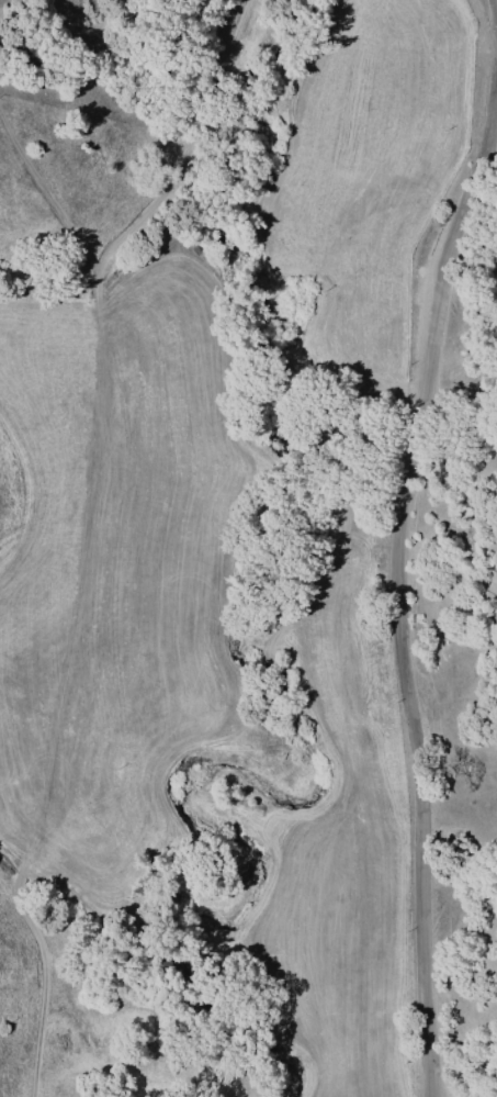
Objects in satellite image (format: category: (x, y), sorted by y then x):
road: (408, 541)
crop: (240, 553)

